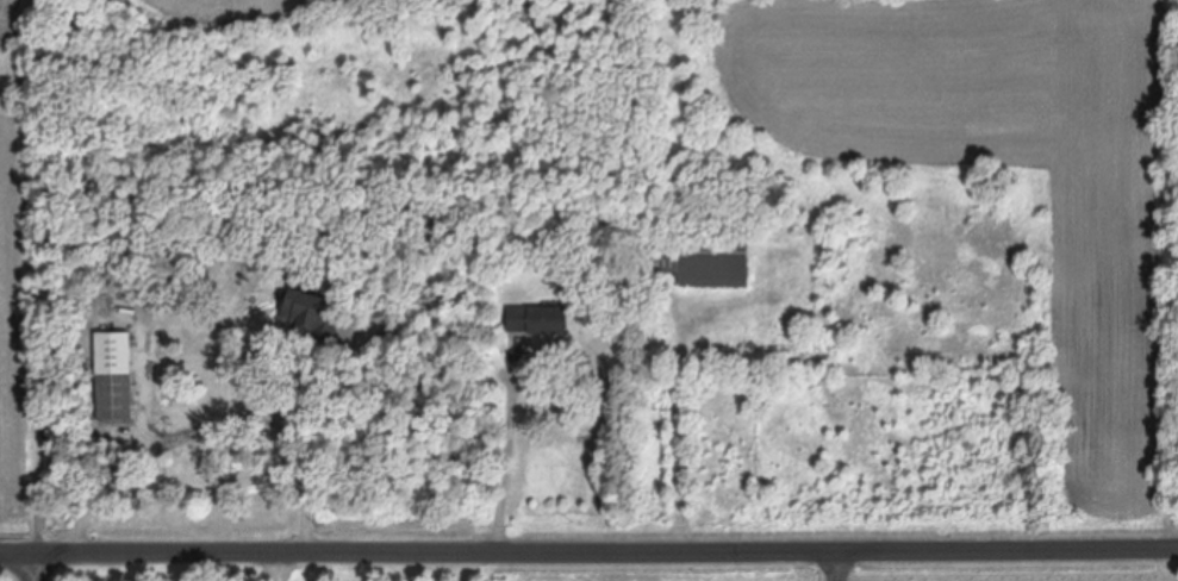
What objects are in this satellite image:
crop: (201, 12)
building: (694, 258)
crop: (927, 268)
crop: (19, 269)
building: (306, 311)
building: (540, 320)
building: (116, 375)
road: (510, 461)
road: (588, 554)
road: (37, 567)
road: (847, 567)

